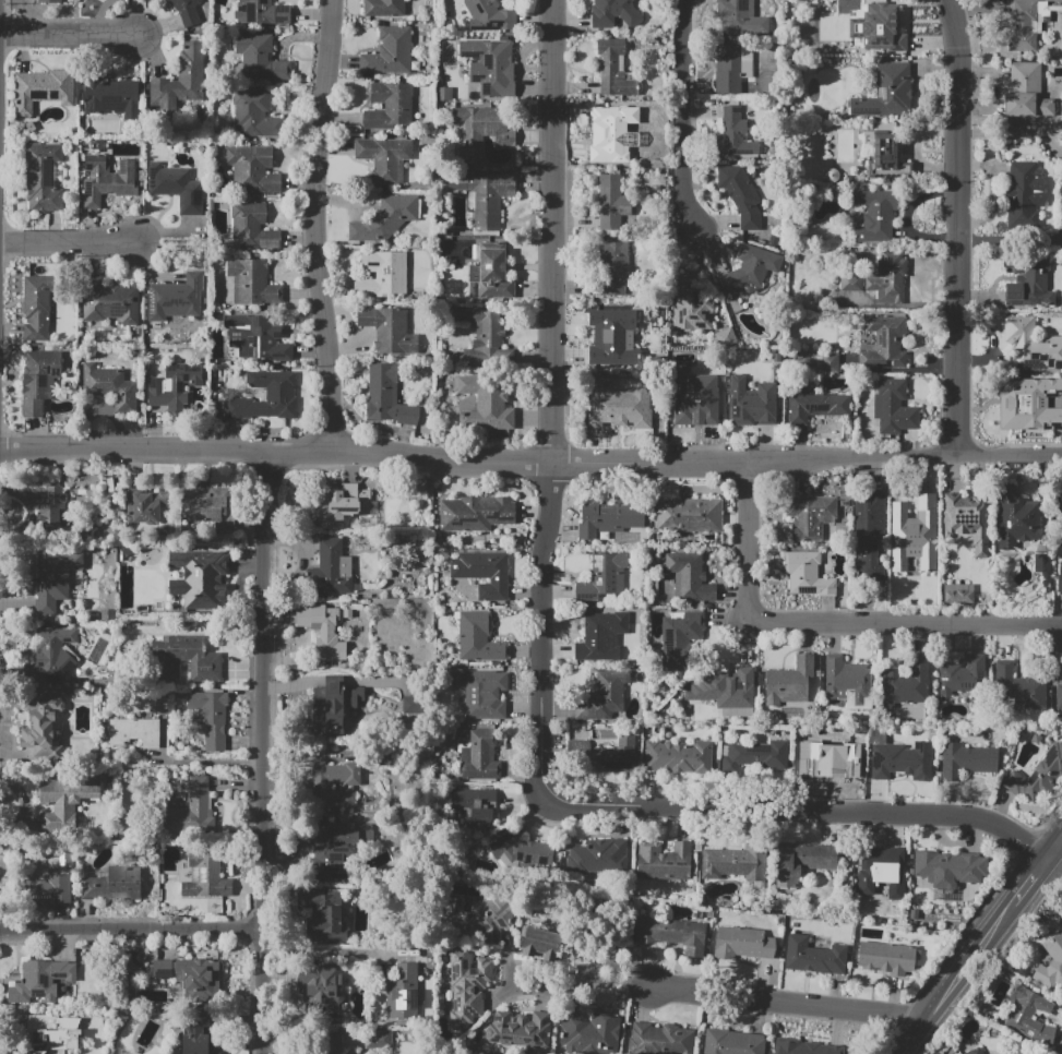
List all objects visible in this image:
building: (48, 1)
building: (384, 8)
building: (186, 11)
building: (261, 12)
building: (613, 13)
building: (488, 16)
building: (741, 16)
building: (1027, 23)
building: (880, 29)
road: (70, 36)
building: (389, 52)
building: (261, 58)
building: (733, 68)
building: (484, 69)
building: (613, 69)
building: (181, 79)
building: (43, 89)
building: (886, 92)
building: (1026, 92)
building: (444, 94)
building: (111, 97)
building: (390, 107)
building: (255, 115)
road: (683, 115)
building: (482, 130)
road: (1016, 132)
building: (609, 134)
building: (733, 134)
building: (1061, 136)
building: (886, 157)
building: (384, 158)
building: (252, 168)
building: (43, 178)
building: (107, 180)
building: (176, 187)
building: (740, 195)
building: (1024, 195)
building: (486, 196)
building: (612, 202)
building: (874, 215)
building: (384, 219)
road: (962, 226)
building: (252, 227)
road: (315, 227)
road: (552, 231)
road: (71, 238)
road: (1012, 240)
building: (751, 266)
building: (488, 267)
building: (612, 268)
building: (382, 274)
building: (887, 278)
building: (249, 280)
building: (1029, 280)
building: (851, 282)
building: (474, 290)
building: (176, 297)
building: (109, 301)
building: (691, 304)
building: (38, 307)
building: (389, 328)
building: (607, 334)
building: (256, 337)
building: (484, 339)
building: (884, 343)
building: (1031, 346)
building: (825, 362)
building: (39, 380)
building: (170, 385)
building: (110, 386)
building: (266, 396)
building: (387, 396)
building: (486, 403)
building: (1029, 404)
building: (618, 405)
building: (754, 405)
building: (815, 406)
building: (696, 407)
building: (894, 407)
road: (530, 463)
building: (1060, 494)
building: (145, 504)
building: (335, 504)
building: (208, 506)
building: (51, 510)
building: (475, 513)
building: (910, 513)
building: (688, 515)
building: (810, 516)
building: (1015, 517)
building: (610, 518)
building: (967, 522)
building: (869, 536)
building: (905, 552)
building: (929, 556)
building: (1042, 565)
building: (331, 570)
building: (484, 573)
building: (806, 574)
building: (604, 576)
building: (689, 576)
building: (1060, 577)
building: (55, 578)
building: (199, 578)
building: (932, 579)
building: (958, 592)
road: (540, 620)
road: (825, 623)
building: (322, 630)
building: (478, 637)
building: (599, 637)
building: (680, 638)
building: (49, 655)
building: (184, 658)
building: (962, 674)
building: (789, 682)
building: (848, 682)
building: (907, 684)
building: (1018, 687)
building: (730, 690)
building: (481, 693)
building: (602, 696)
building: (1059, 696)
building: (410, 704)
building: (162, 705)
building: (336, 706)
building: (736, 711)
building: (211, 717)
building: (41, 727)
building: (133, 731)
road: (266, 753)
building: (604, 755)
building: (754, 755)
building: (480, 756)
building: (678, 757)
road: (212, 759)
building: (826, 760)
building: (902, 760)
building: (966, 760)
building: (1039, 777)
building: (320, 788)
building: (65, 798)
building: (475, 805)
road: (795, 810)
building: (190, 811)
road: (1060, 845)
building: (341, 849)
road: (1054, 849)
building: (520, 850)
building: (599, 855)
building: (664, 861)
building: (802, 861)
building: (733, 862)
building: (951, 866)
building: (883, 869)
building: (205, 876)
building: (112, 884)
road: (1026, 887)
building: (45, 891)
building: (322, 917)
building: (478, 918)
road: (132, 930)
building: (672, 933)
building: (540, 943)
building: (742, 943)
road: (329, 951)
building: (814, 956)
building: (888, 956)
building: (1052, 961)
road: (613, 966)
road: (966, 966)
building: (160, 968)
building: (200, 979)
road: (612, 980)
building: (40, 981)
road: (645, 982)
building: (466, 986)
building: (320, 989)
road: (551, 990)
building: (403, 992)
road: (790, 1002)
building: (1029, 1016)
building: (524, 1025)
building: (589, 1032)
building: (51, 1033)
road: (915, 1034)
building: (199, 1037)
building: (661, 1039)
building: (379, 1040)
building: (330, 1042)
building: (732, 1042)
building: (803, 1047)
building: (975, 1051)
road: (1057, 1051)

